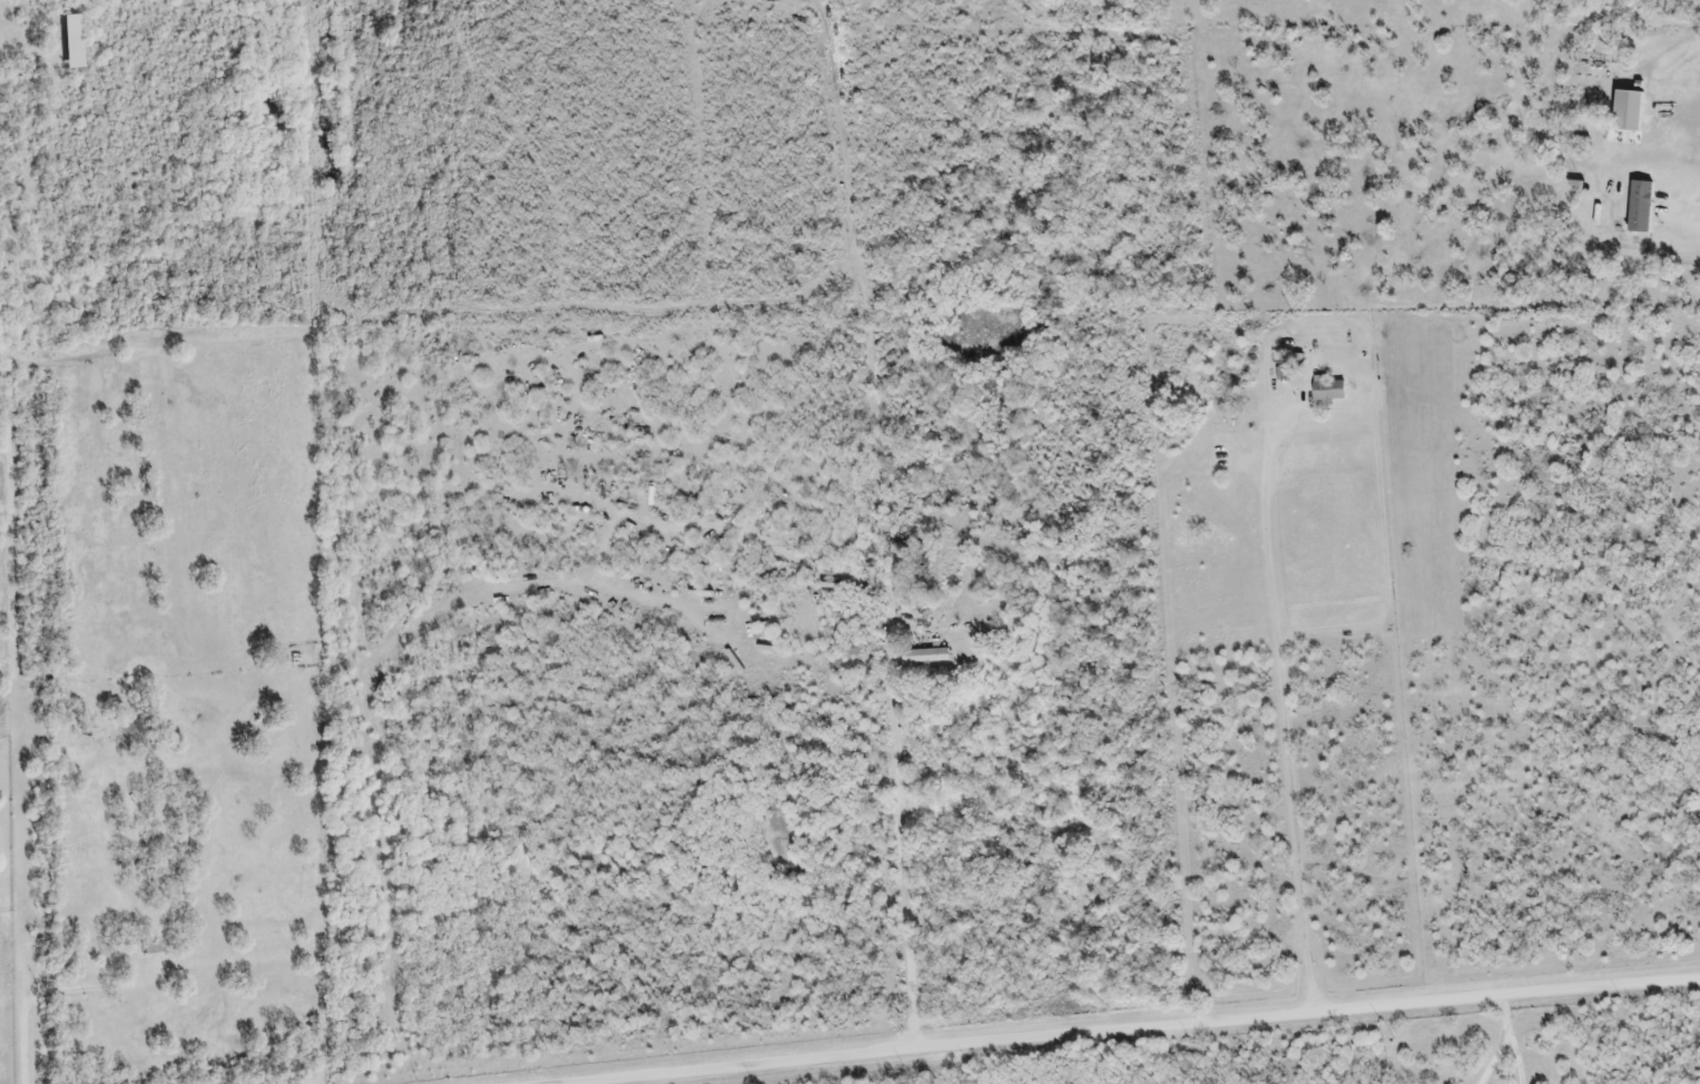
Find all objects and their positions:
building: (70, 43)
building: (1627, 112)
building: (1579, 238)
building: (1327, 391)
building: (852, 651)
building: (924, 658)
road: (1281, 727)
road: (903, 844)
building: (149, 950)
road: (33, 999)
road: (1510, 1013)
road: (1133, 1029)
road: (1520, 1056)
road: (1495, 1057)

